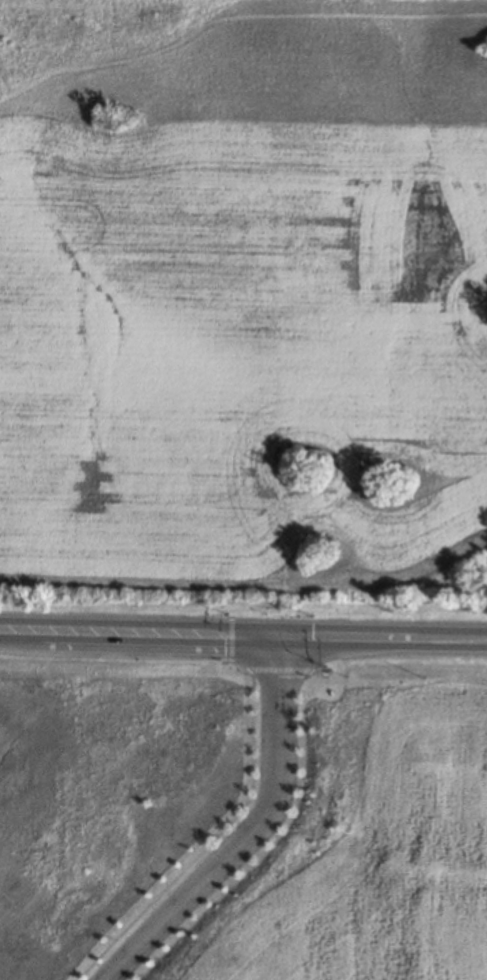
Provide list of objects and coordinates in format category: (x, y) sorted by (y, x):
road: (19, 631)
road: (262, 637)
traffic signals: (277, 638)
road: (251, 836)

